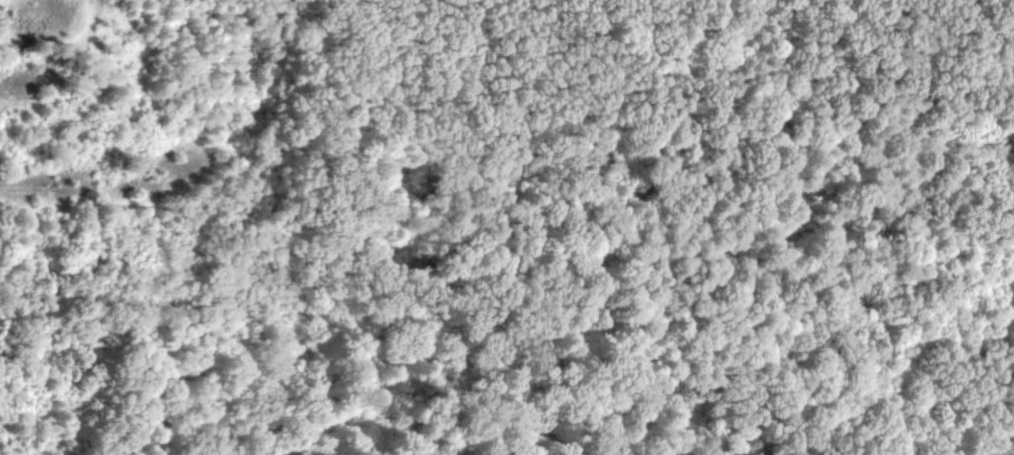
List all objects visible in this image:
road: (816, 22)
road: (430, 220)
park: (597, 241)
road: (905, 357)

